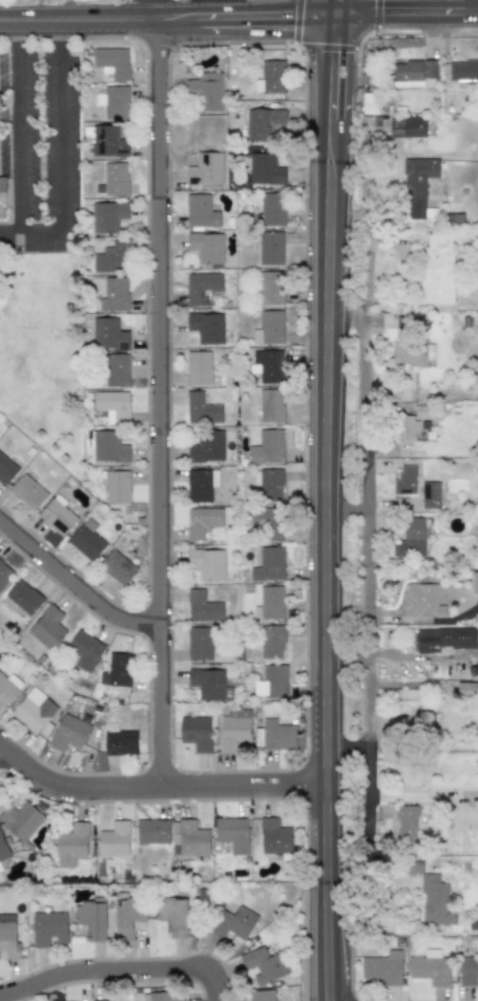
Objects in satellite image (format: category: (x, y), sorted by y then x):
road: (472, 8)
road: (137, 12)
road: (239, 19)
road: (62, 31)
road: (17, 32)
building: (112, 62)
building: (463, 69)
building: (411, 72)
building: (271, 77)
building: (206, 91)
building: (114, 102)
building: (0, 103)
building: (262, 123)
building: (407, 127)
road: (61, 135)
road: (17, 136)
building: (108, 142)
building: (205, 169)
building: (265, 169)
building: (115, 179)
building: (418, 184)
building: (2, 198)
building: (272, 209)
building: (200, 212)
building: (107, 216)
road: (30, 231)
building: (206, 247)
building: (270, 248)
building: (112, 258)
building: (437, 268)
building: (202, 288)
building: (271, 288)
building: (114, 295)
building: (206, 327)
building: (269, 328)
building: (108, 334)
building: (412, 353)
building: (270, 366)
building: (198, 368)
building: (116, 370)
building: (112, 405)
building: (270, 405)
road: (160, 407)
building: (201, 409)
building: (406, 428)
building: (109, 447)
building: (206, 447)
building: (267, 447)
building: (6, 469)
building: (406, 480)
building: (200, 485)
building: (270, 485)
building: (117, 487)
building: (27, 492)
building: (430, 494)
road: (324, 500)
building: (57, 515)
building: (271, 521)
building: (202, 522)
building: (411, 538)
building: (86, 540)
road: (371, 556)
building: (207, 563)
building: (269, 564)
building: (117, 568)
building: (4, 573)
building: (474, 582)
road: (75, 589)
building: (24, 597)
building: (421, 601)
building: (202, 607)
building: (48, 628)
building: (444, 639)
building: (272, 640)
building: (199, 644)
building: (83, 650)
building: (117, 670)
building: (271, 681)
building: (210, 684)
building: (8, 688)
building: (467, 689)
building: (408, 700)
building: (33, 710)
building: (234, 730)
building: (68, 733)
building: (196, 733)
building: (277, 734)
building: (119, 740)
road: (157, 791)
building: (22, 819)
building: (406, 823)
building: (152, 831)
building: (232, 834)
building: (274, 837)
building: (190, 839)
building: (114, 840)
building: (72, 845)
building: (3, 848)
building: (0, 868)
building: (435, 901)
building: (126, 915)
building: (172, 915)
building: (233, 923)
building: (48, 929)
building: (8, 935)
building: (263, 966)
building: (383, 967)
building: (430, 967)
building: (468, 970)
road: (116, 971)
building: (262, 995)
building: (162, 996)

